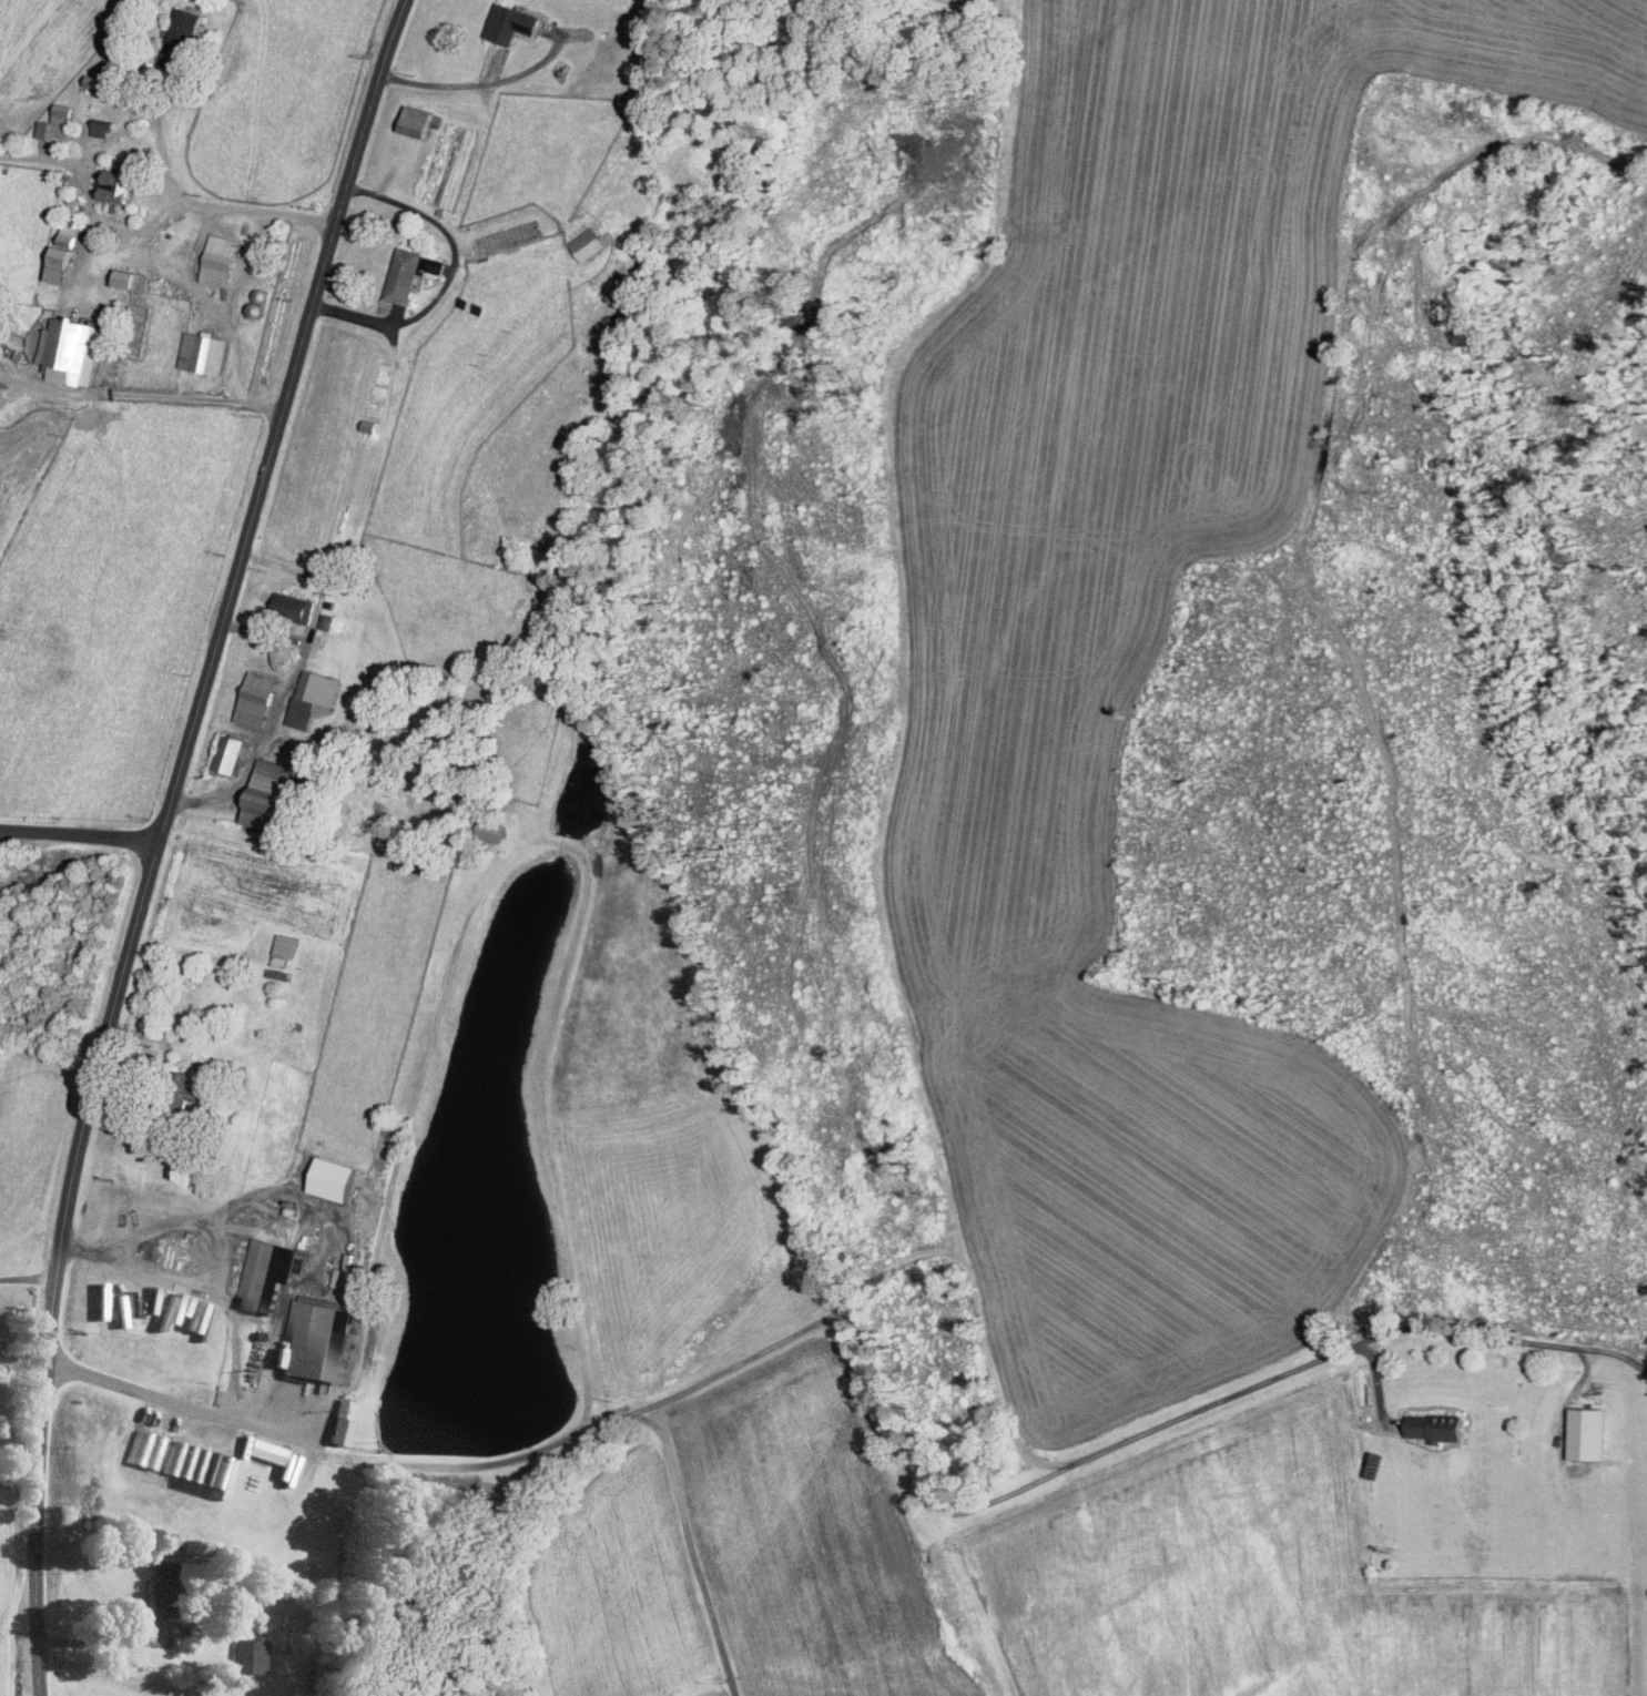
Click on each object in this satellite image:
building: (512, 21)
building: (182, 38)
road: (475, 83)
building: (418, 120)
building: (57, 122)
building: (102, 128)
road: (109, 140)
road: (43, 155)
building: (118, 184)
road: (193, 205)
building: (69, 234)
road: (194, 243)
building: (588, 243)
building: (220, 258)
building: (60, 263)
road: (246, 264)
building: (405, 274)
road: (450, 275)
building: (133, 278)
road: (226, 323)
building: (70, 348)
building: (204, 352)
building: (0, 385)
road: (120, 390)
building: (294, 606)
road: (264, 633)
road: (291, 681)
building: (314, 697)
building: (256, 698)
building: (232, 753)
building: (270, 794)
road: (80, 834)
road: (160, 836)
building: (285, 948)
building: (336, 1176)
road: (303, 1191)
road: (218, 1255)
building: (270, 1271)
road: (27, 1278)
road: (217, 1296)
building: (318, 1337)
road: (1204, 1409)
building: (1365, 1412)
building: (339, 1421)
building: (1437, 1425)
building: (1588, 1431)
building: (148, 1446)
building: (265, 1449)
road: (918, 1463)
building: (197, 1466)
road: (487, 1466)
road: (692, 1551)
building: (161, 1585)
road: (95, 1639)
building: (248, 1654)
road: (123, 1675)

